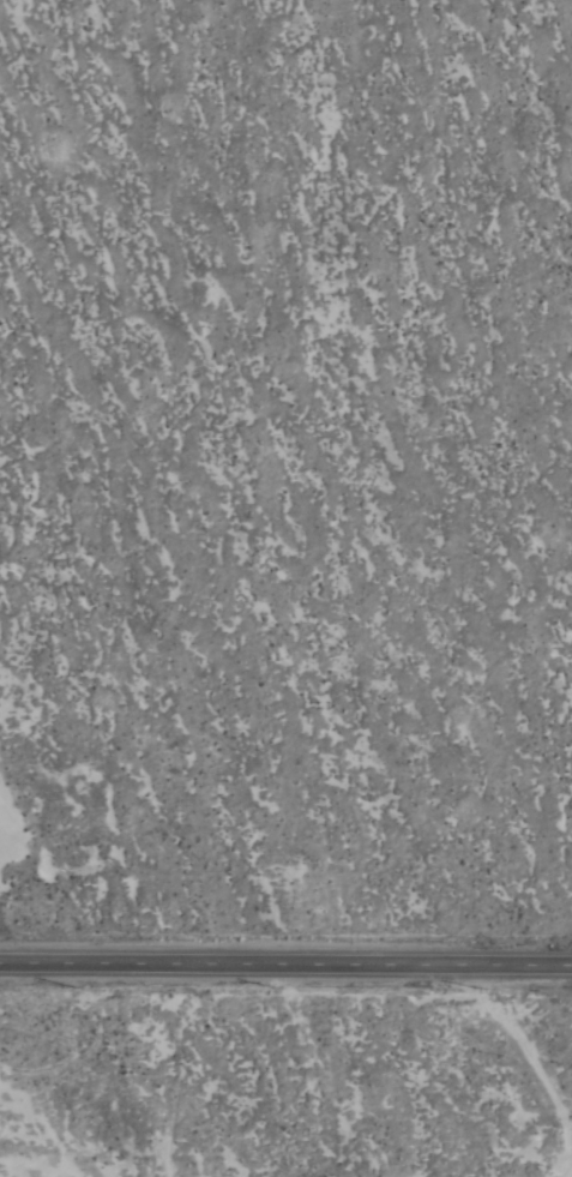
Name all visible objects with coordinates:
road: (285, 971)
road: (537, 1065)

